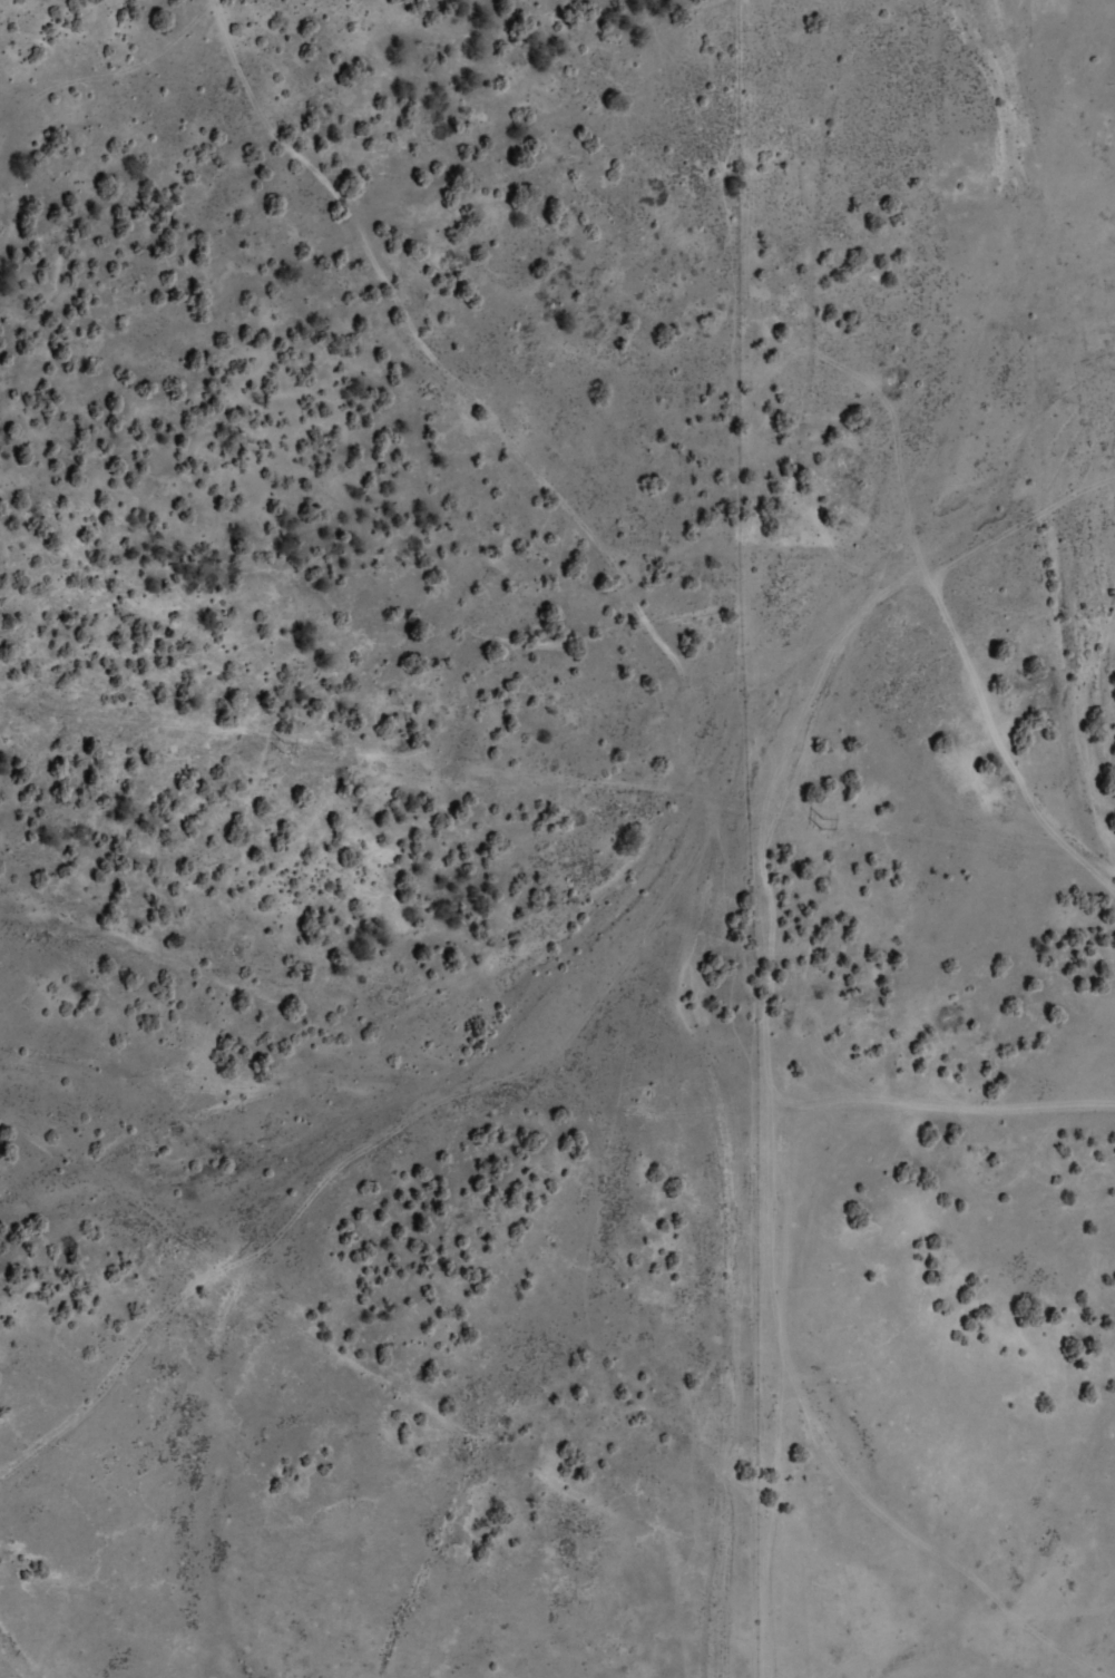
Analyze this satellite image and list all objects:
road: (433, 397)
power tower: (283, 750)
power tower: (825, 826)

